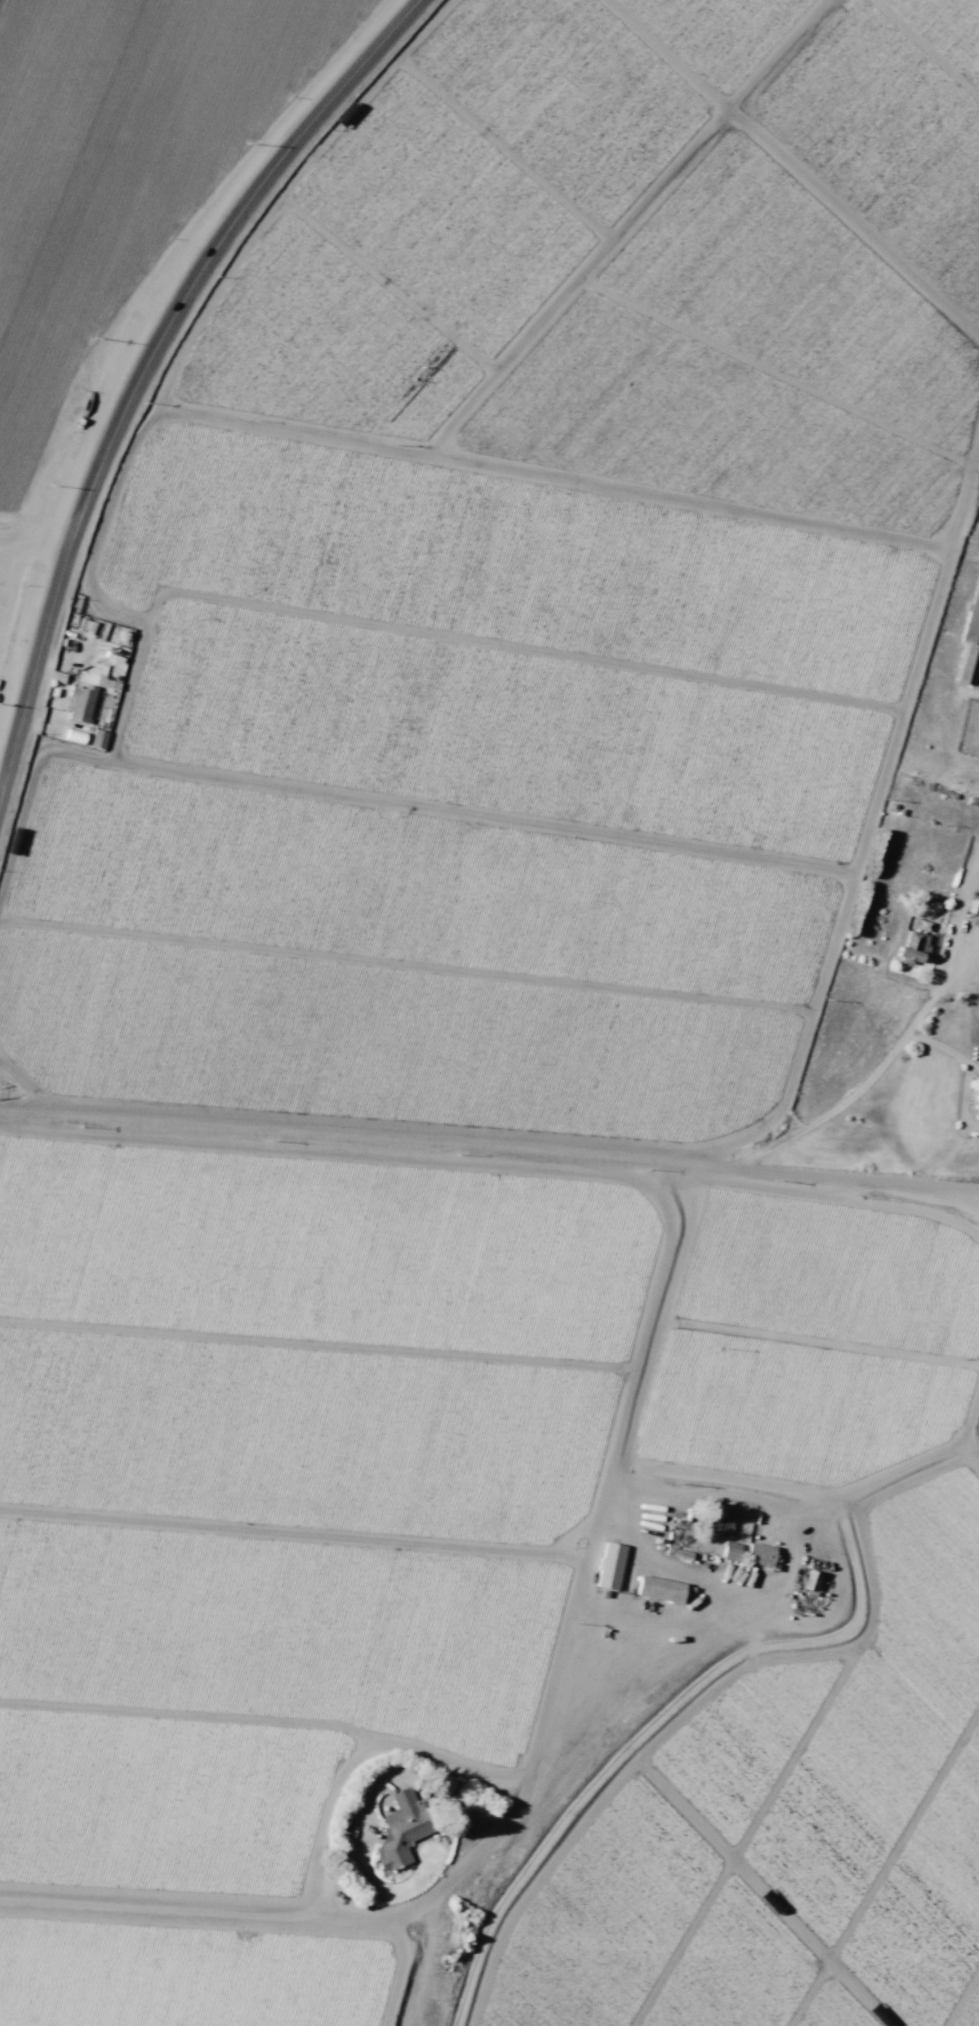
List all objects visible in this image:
crop: (105, 192)
road: (146, 360)
building: (974, 607)
building: (966, 664)
building: (57, 676)
building: (80, 703)
building: (98, 739)
building: (978, 836)
building: (920, 924)
building: (912, 947)
crop: (460, 953)
building: (978, 1100)
road: (537, 1151)
building: (720, 1523)
building: (729, 1551)
building: (759, 1554)
building: (609, 1566)
road: (678, 1569)
building: (809, 1580)
building: (659, 1589)
crop: (785, 1825)
building: (401, 1828)

